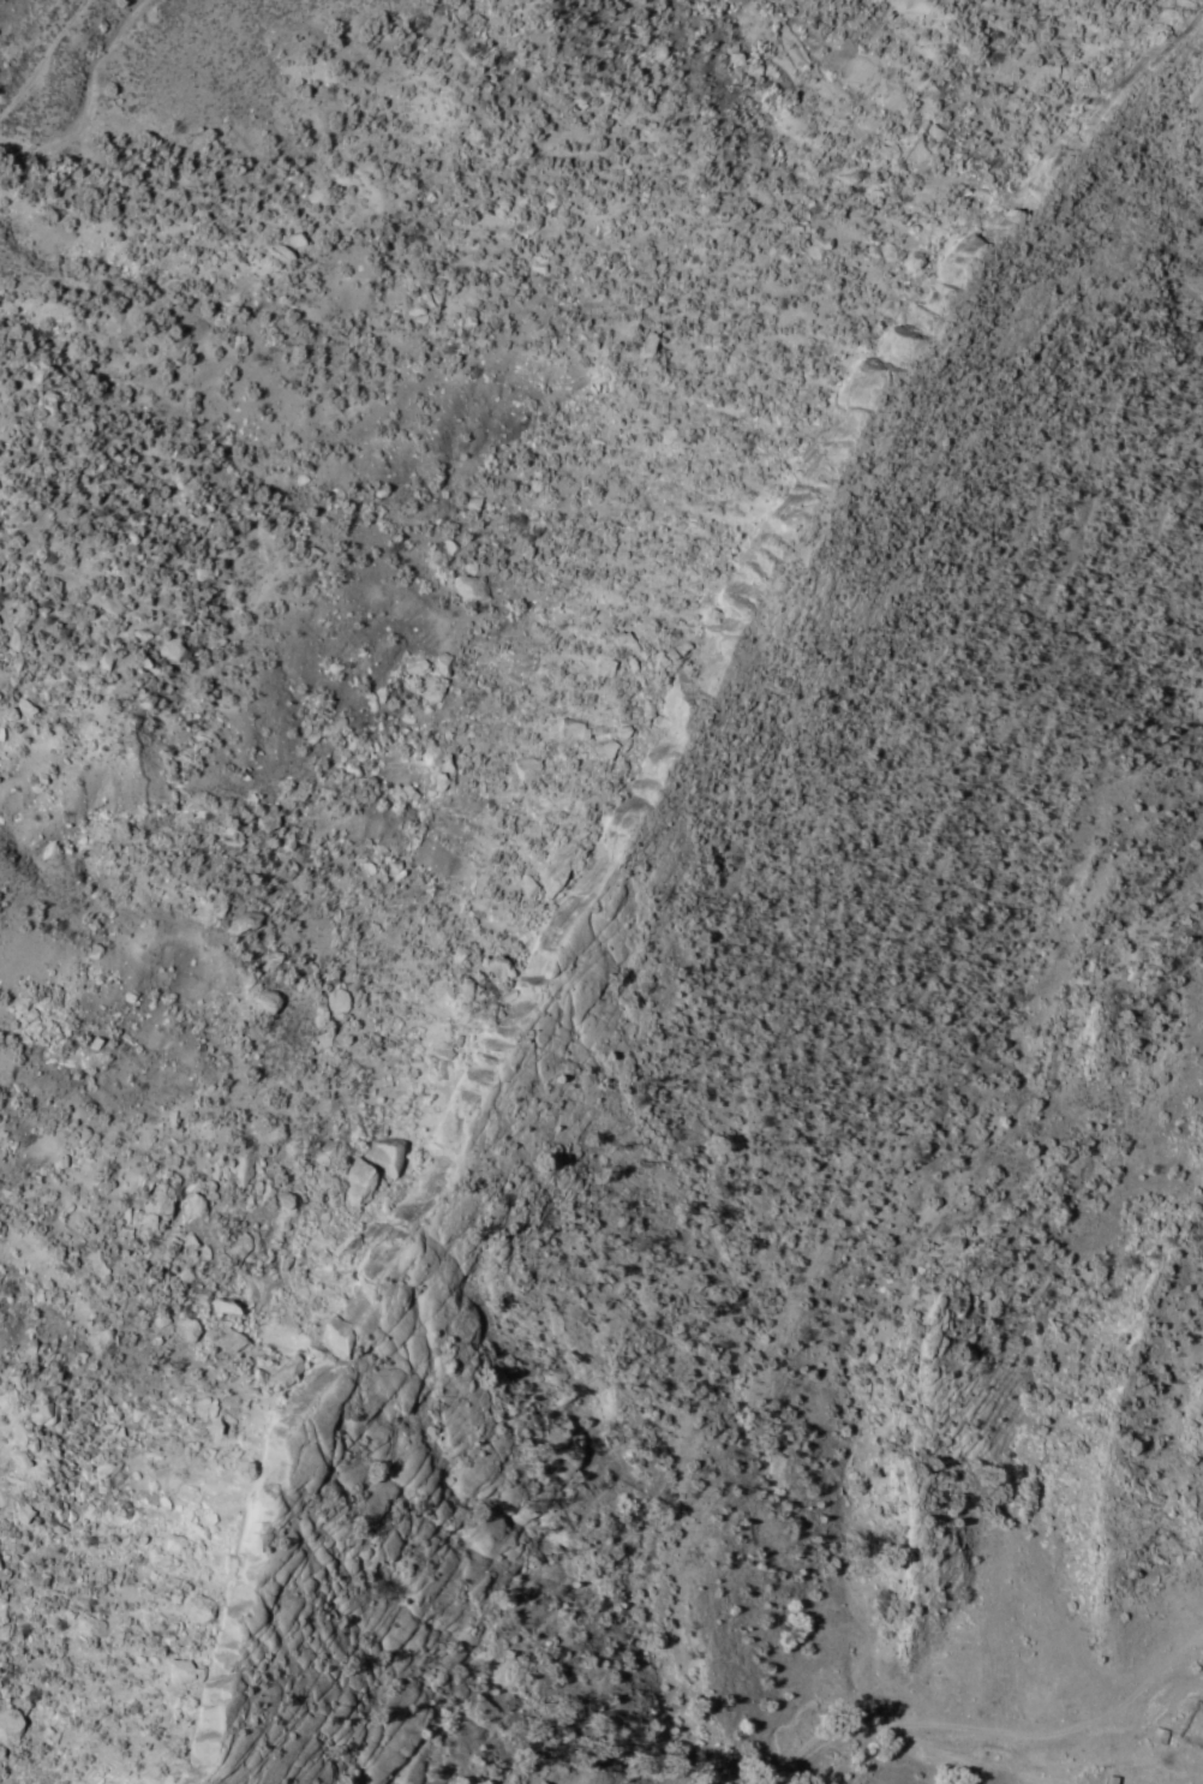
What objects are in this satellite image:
building: (1162, 1736)
building: (1114, 1779)

